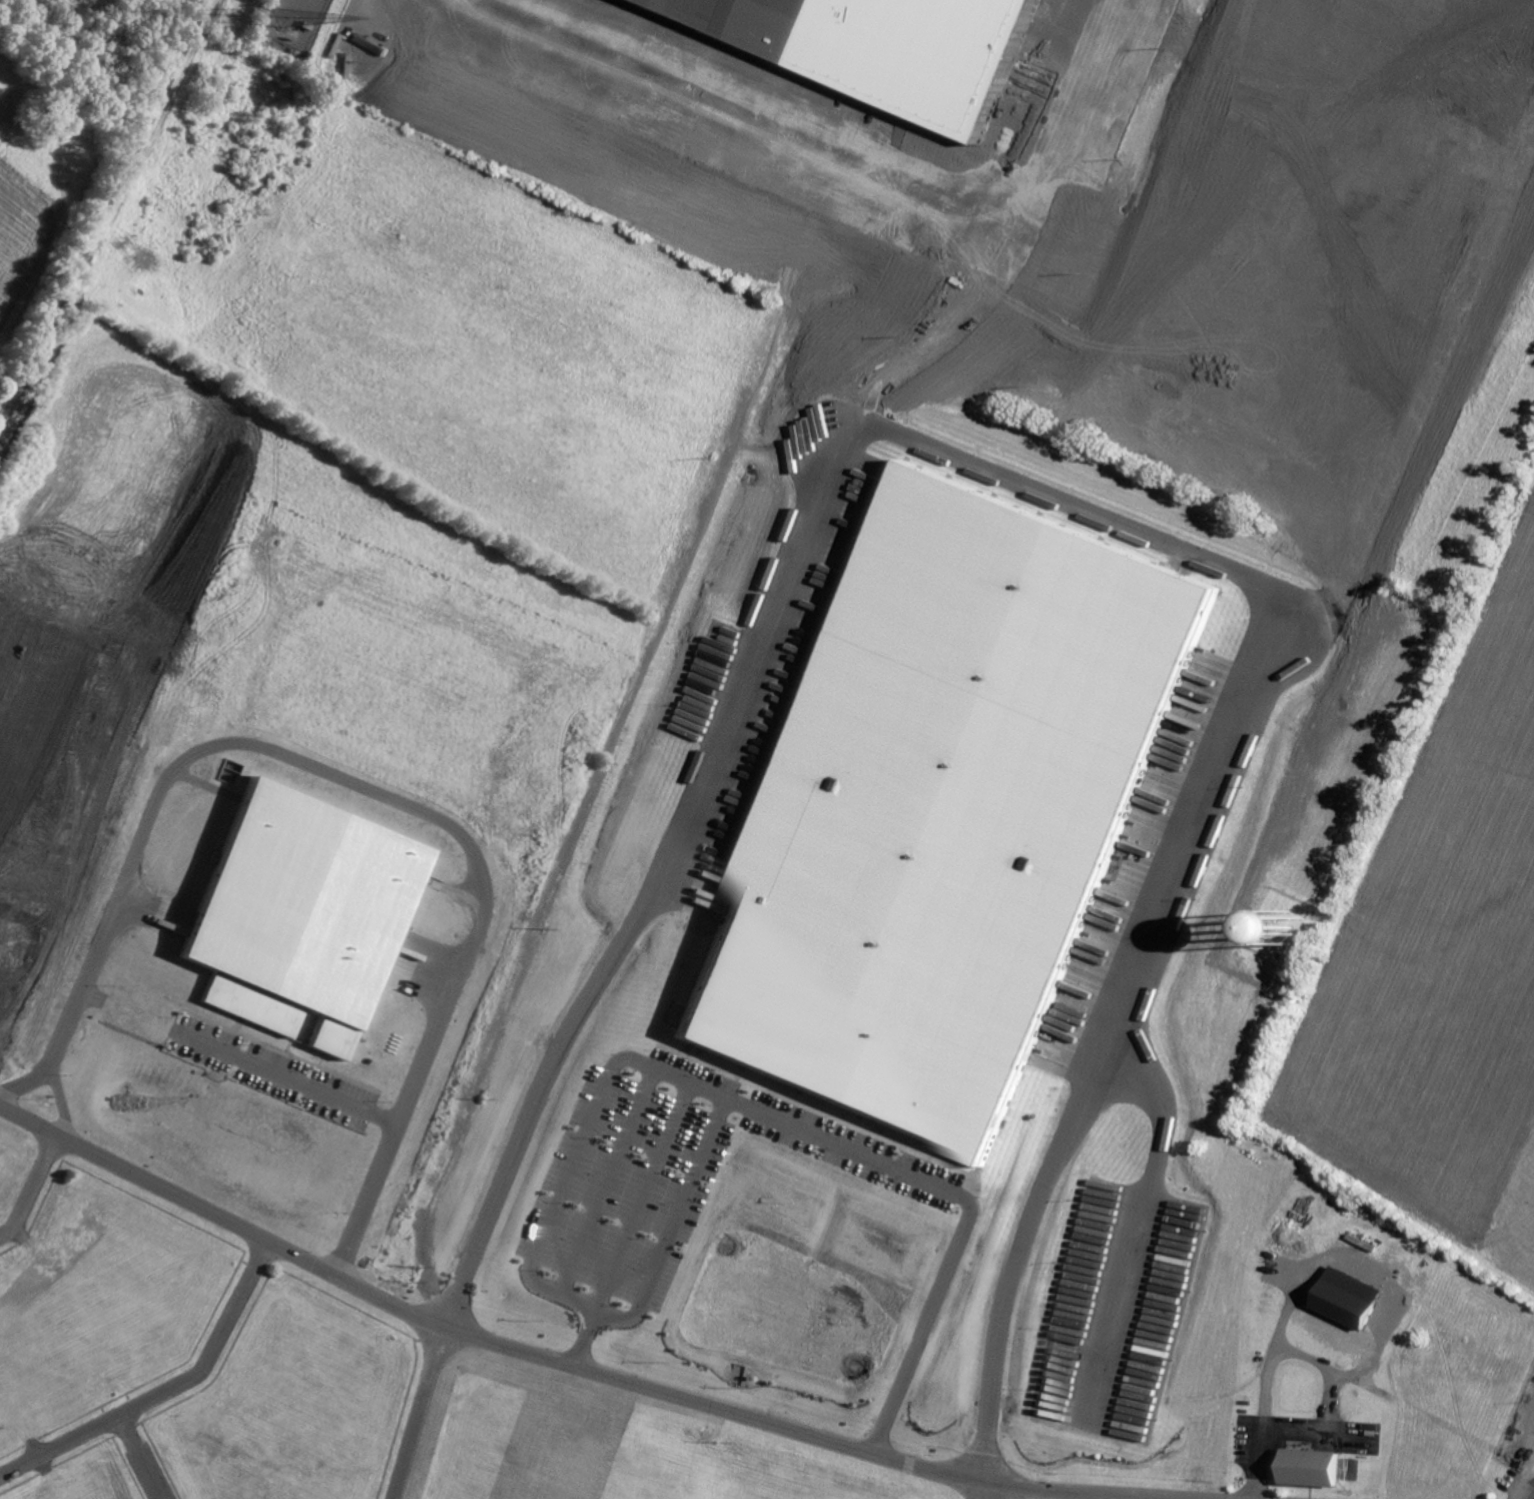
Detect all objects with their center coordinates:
building: (872, 47)
road: (745, 117)
road: (1070, 117)
road: (102, 211)
road: (945, 333)
road: (1045, 491)
building: (100, 670)
road: (323, 780)
building: (944, 810)
building: (298, 913)
water tower: (1289, 929)
building: (307, 1022)
road: (685, 1080)
road: (29, 1086)
road: (61, 1103)
road: (361, 1116)
road: (608, 1183)
road: (31, 1189)
road: (643, 1199)
road: (968, 1204)
road: (1139, 1227)
building: (1346, 1305)
road: (1321, 1364)
road: (570, 1368)
road: (164, 1390)
road: (417, 1414)
road: (1531, 1433)
road: (140, 1457)
road: (1257, 1463)
building: (1309, 1469)
road: (1523, 1480)
road: (983, 1492)

